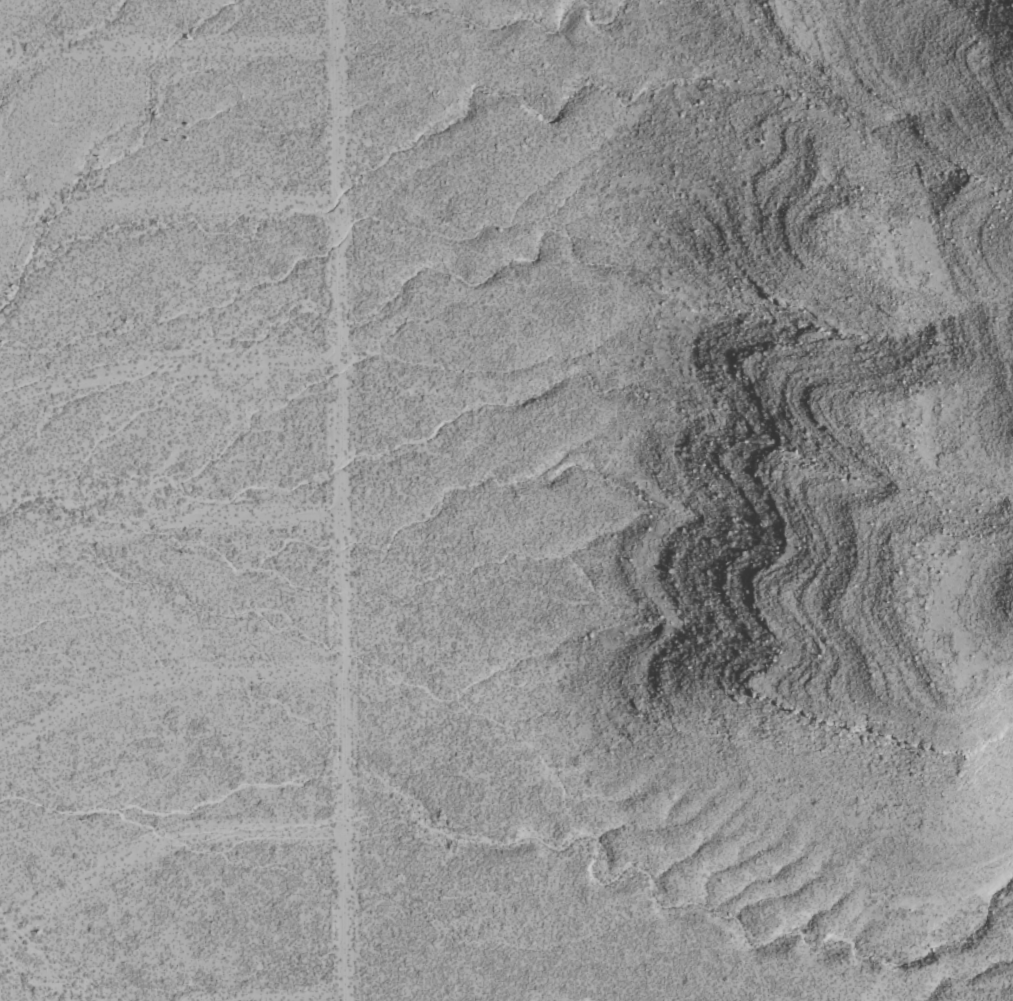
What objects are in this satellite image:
road: (166, 50)
road: (167, 204)
road: (167, 365)
road: (340, 500)
road: (166, 522)
road: (164, 679)
road: (160, 841)
road: (299, 996)

